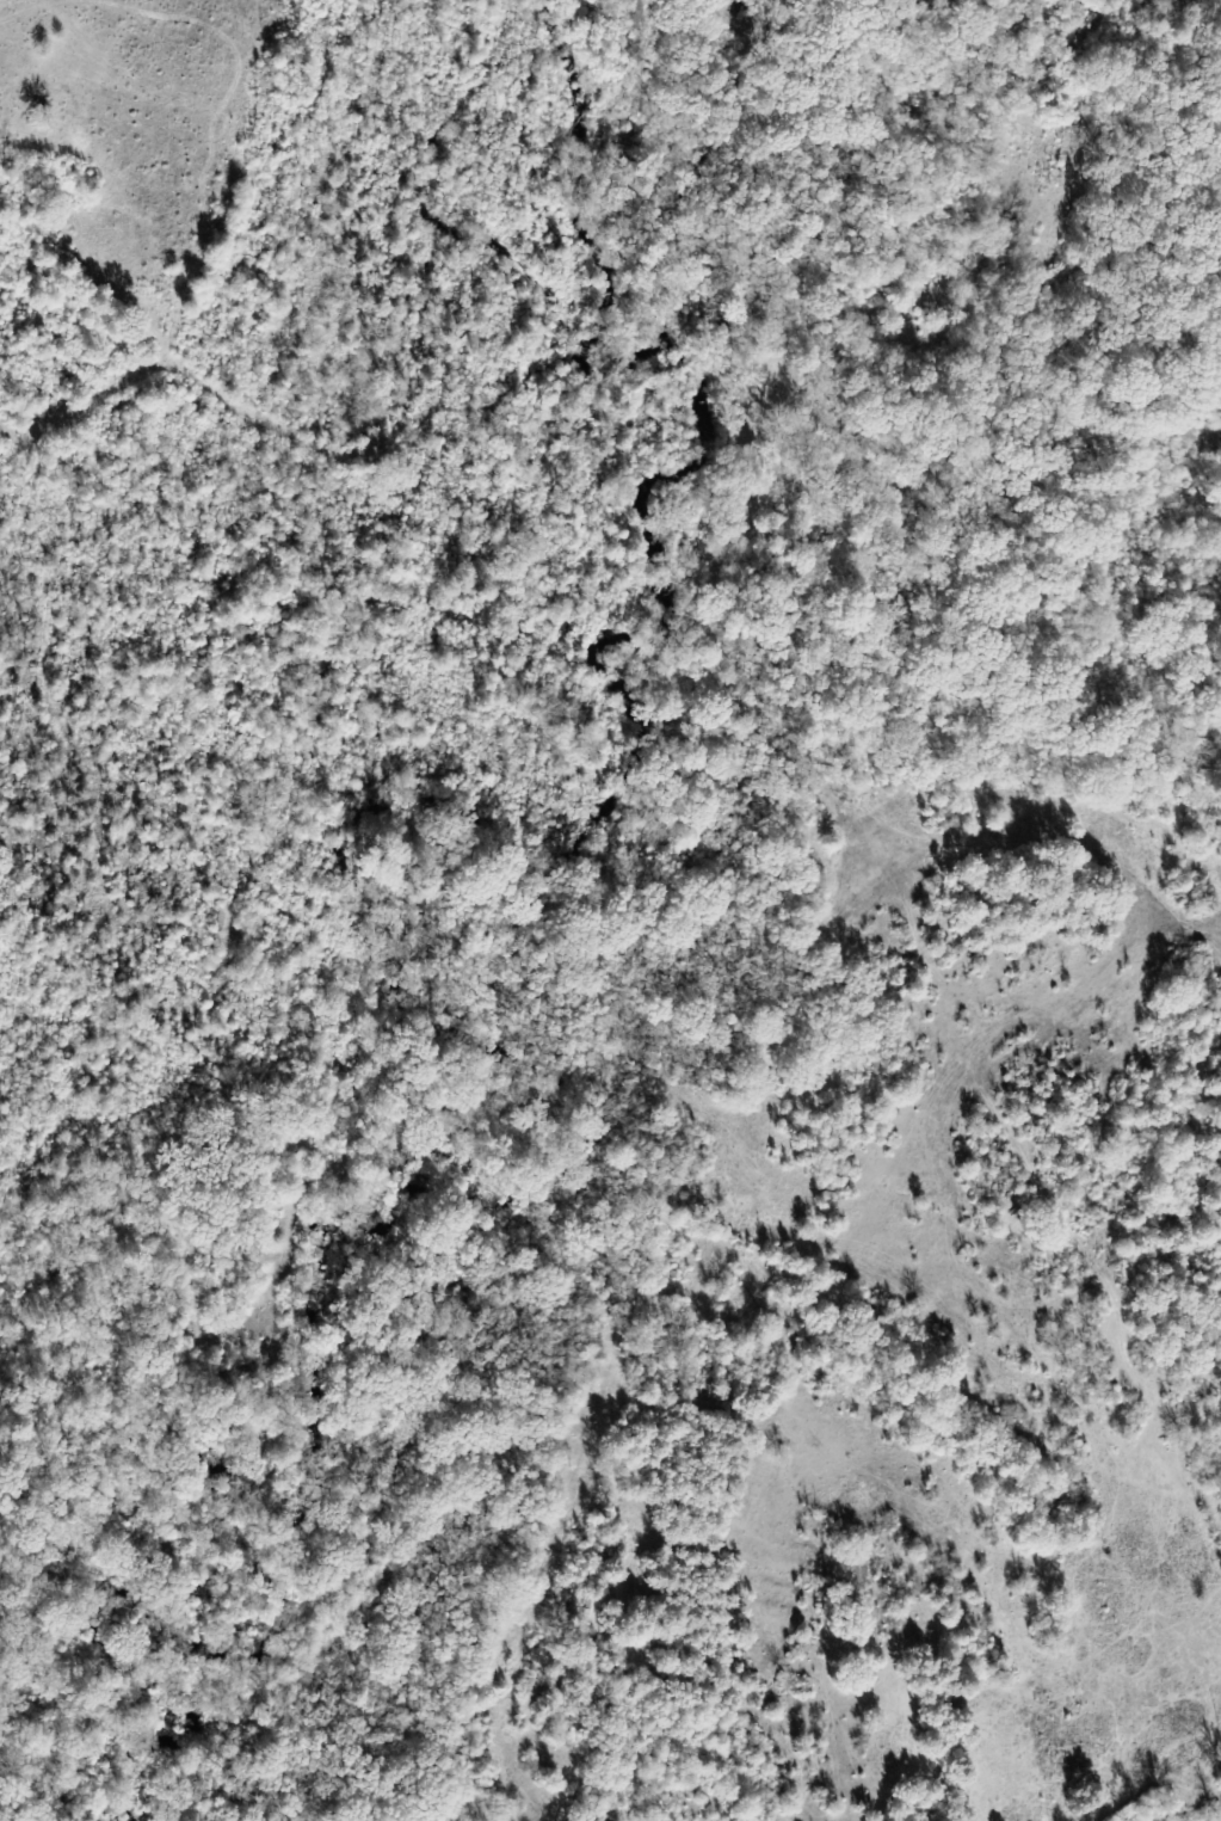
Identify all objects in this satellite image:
road: (1174, 1805)

